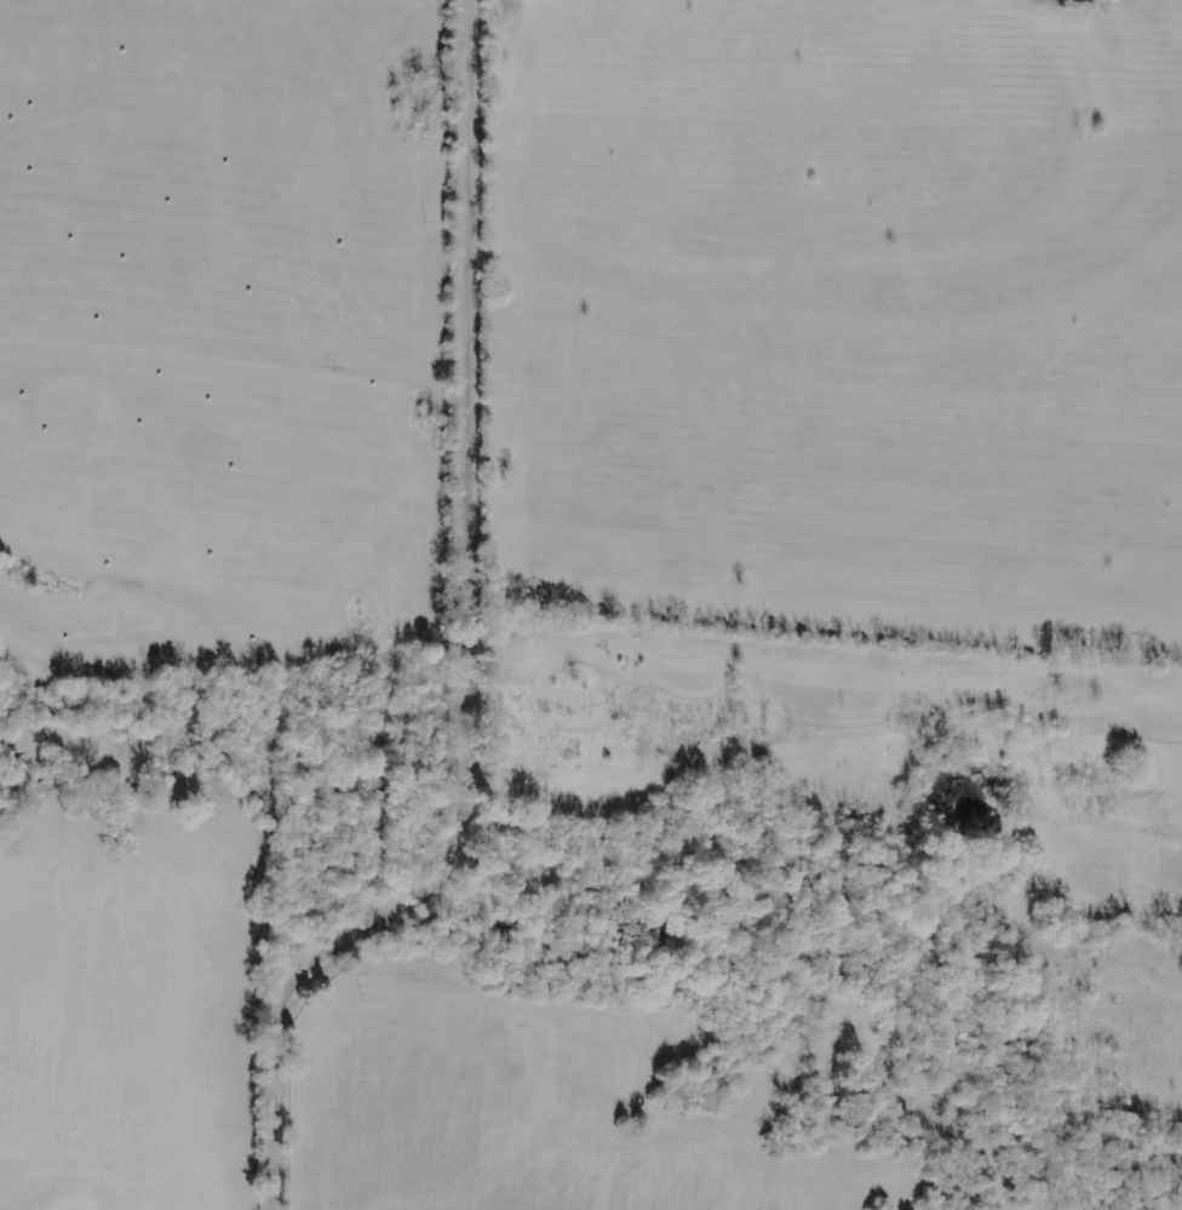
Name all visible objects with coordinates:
road: (476, 650)

